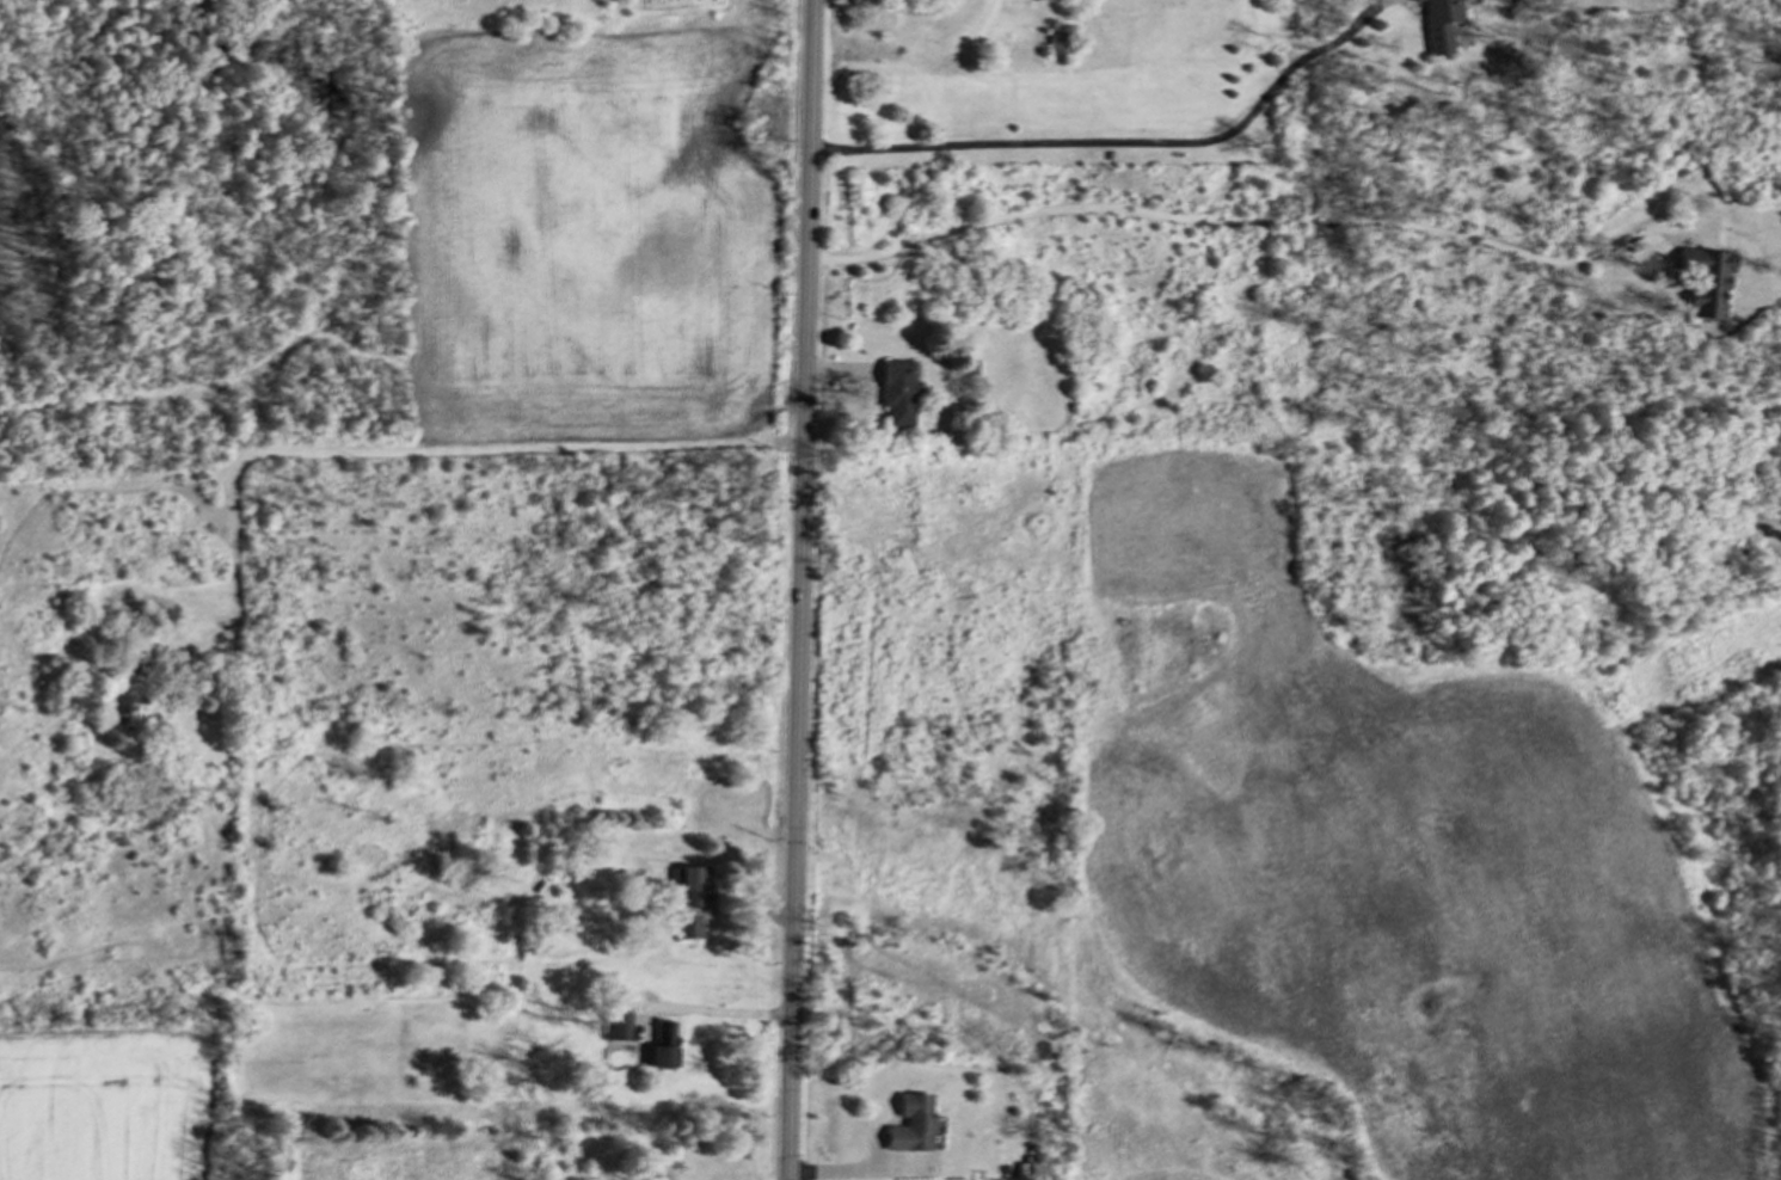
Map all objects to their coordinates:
building: (1413, 0)
building: (1439, 23)
building: (1056, 37)
road: (1124, 139)
road: (1247, 219)
crop: (590, 229)
building: (1706, 278)
building: (896, 391)
road: (399, 450)
road: (798, 589)
building: (131, 712)
building: (690, 880)
crop: (1353, 880)
building: (591, 885)
building: (688, 924)
building: (619, 1025)
building: (663, 1044)
crop: (110, 1108)
building: (910, 1123)
road: (856, 1168)

